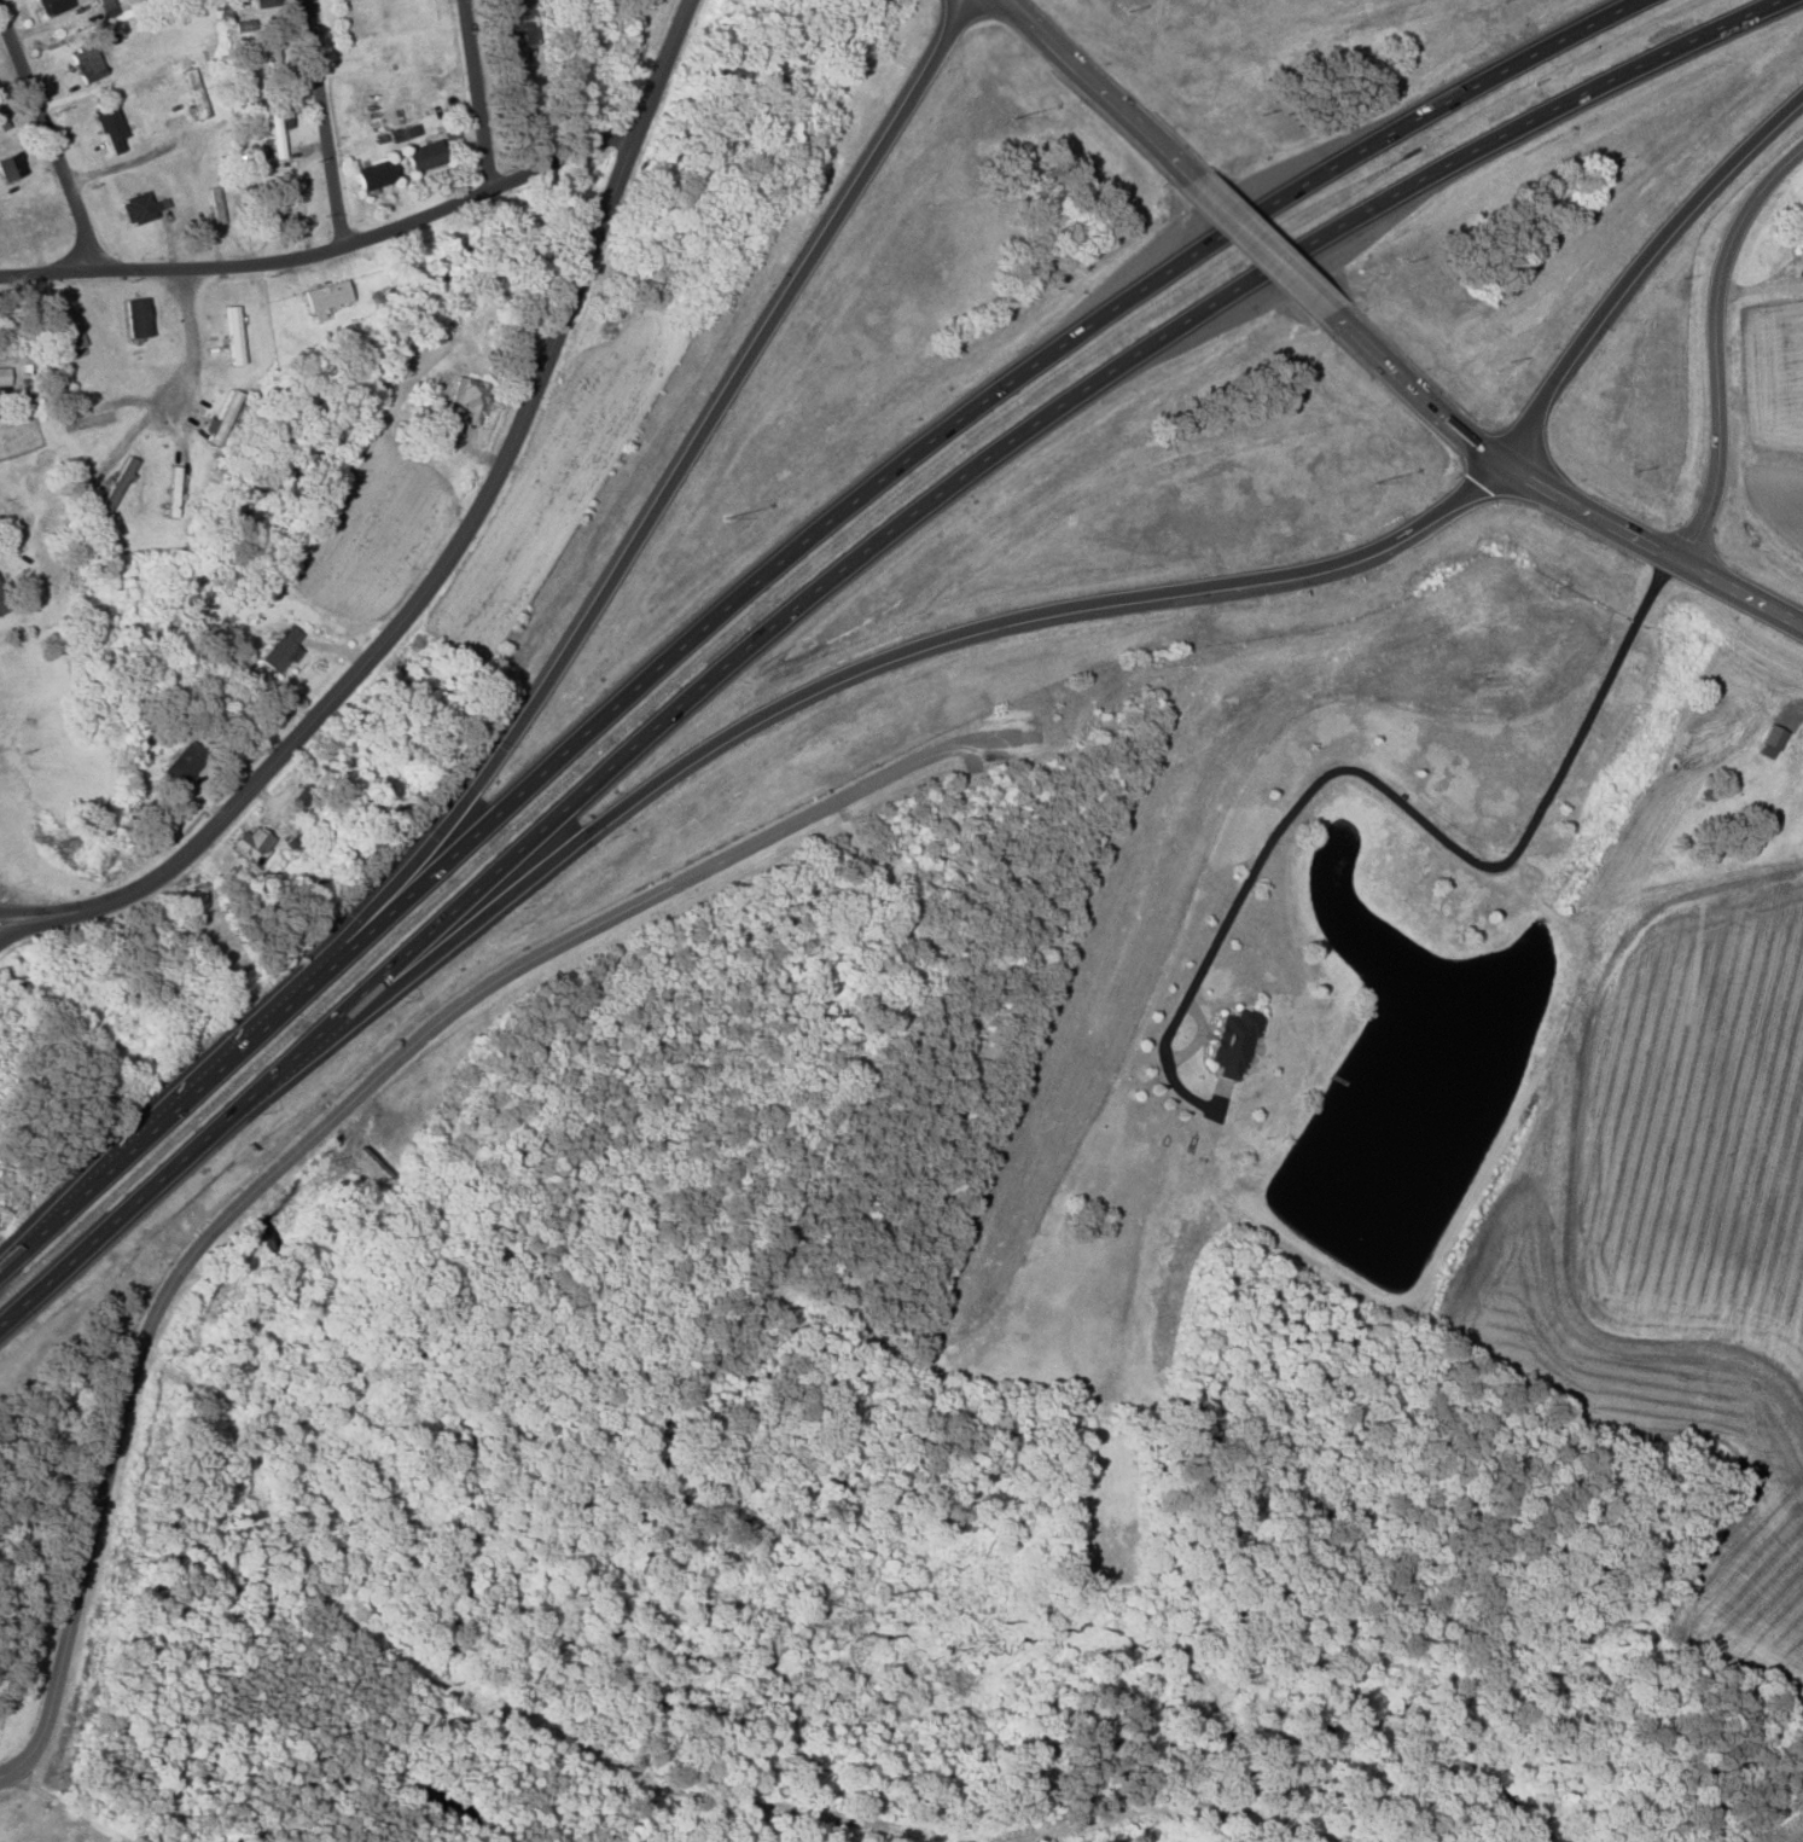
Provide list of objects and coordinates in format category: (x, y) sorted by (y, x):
building: (264, 2)
building: (52, 5)
building: (106, 7)
building: (512, 29)
building: (85, 60)
road: (1105, 88)
road: (478, 94)
building: (2, 121)
road: (325, 123)
building: (109, 127)
building: (275, 128)
building: (403, 132)
road: (52, 140)
building: (424, 155)
building: (10, 165)
building: (373, 174)
building: (277, 203)
building: (136, 208)
road: (1264, 246)
road: (331, 248)
building: (1799, 249)
road: (1641, 277)
road: (1760, 289)
building: (325, 295)
building: (135, 316)
building: (68, 331)
building: (232, 335)
road: (190, 338)
road: (1716, 344)
building: (4, 377)
road: (1417, 391)
building: (469, 396)
road: (685, 473)
road: (443, 547)
road: (1651, 547)
road: (775, 573)
road: (831, 586)
building: (0, 608)
building: (279, 650)
road: (818, 691)
building: (1770, 740)
building: (182, 763)
road: (1392, 794)
building: (249, 843)
building: (1231, 1044)
road: (354, 1098)
road: (6, 1778)

